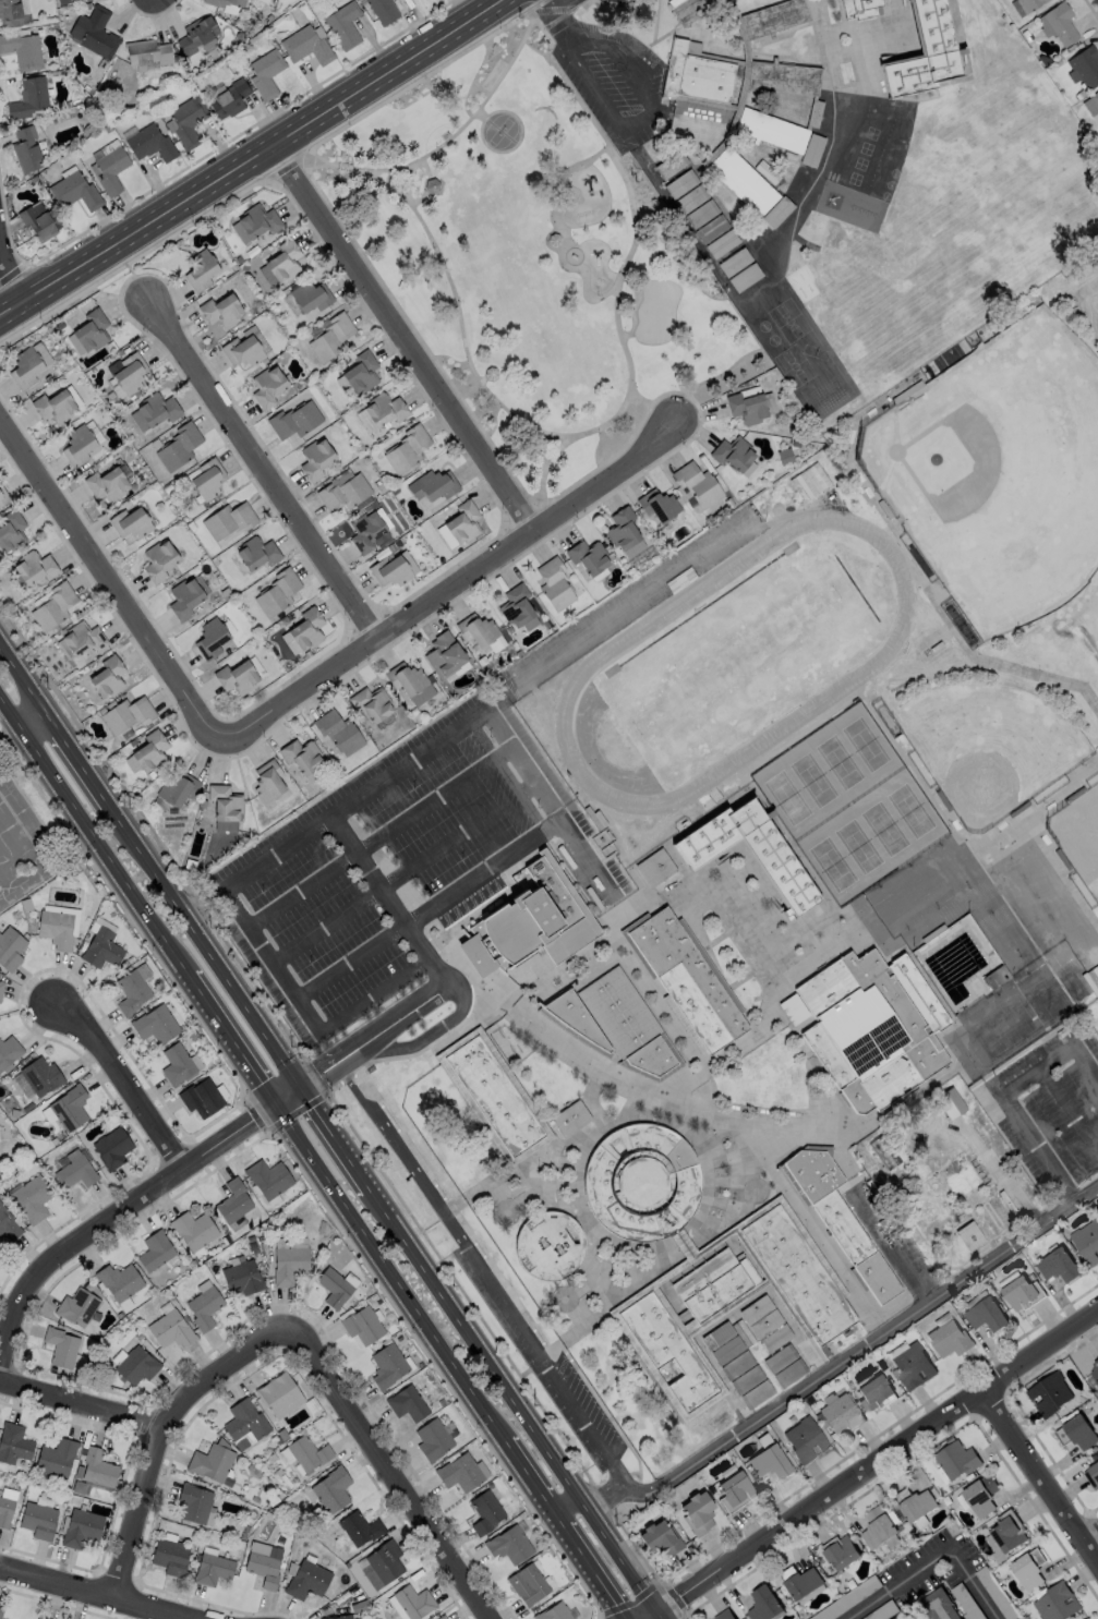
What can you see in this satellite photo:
building: (224, 2)
road: (569, 3)
building: (1028, 3)
building: (860, 9)
building: (383, 10)
building: (690, 10)
building: (9, 13)
building: (773, 19)
building: (1059, 22)
building: (342, 24)
building: (94, 32)
building: (195, 34)
building: (305, 45)
building: (22, 49)
building: (145, 52)
building: (922, 52)
road: (602, 62)
parking lot: (612, 67)
building: (1084, 67)
building: (264, 72)
building: (695, 75)
building: (784, 78)
building: (27, 97)
building: (1095, 97)
building: (229, 99)
road: (482, 116)
building: (186, 120)
park: (503, 130)
building: (771, 131)
building: (149, 144)
building: (25, 148)
road: (251, 157)
building: (110, 170)
road: (410, 181)
building: (680, 183)
building: (432, 184)
building: (743, 184)
road: (429, 185)
building: (74, 192)
building: (691, 198)
building: (701, 214)
building: (39, 221)
building: (254, 222)
building: (712, 228)
road: (559, 229)
building: (553, 239)
road: (631, 255)
building: (282, 261)
park: (535, 261)
building: (200, 269)
road: (132, 273)
road: (11, 275)
building: (309, 295)
building: (220, 310)
park: (657, 310)
building: (91, 330)
road: (407, 334)
building: (329, 337)
building: (241, 350)
building: (24, 367)
building: (360, 372)
building: (129, 373)
building: (492, 374)
building: (267, 386)
road: (695, 391)
building: (53, 406)
building: (745, 407)
building: (156, 408)
building: (383, 409)
building: (294, 420)
building: (77, 445)
building: (178, 446)
building: (406, 448)
road: (559, 448)
building: (731, 452)
building: (315, 459)
road: (545, 467)
road: (264, 469)
park: (998, 478)
building: (206, 479)
building: (696, 483)
building: (106, 484)
building: (432, 485)
building: (342, 491)
building: (3, 496)
building: (656, 505)
building: (228, 520)
building: (130, 522)
building: (461, 522)
building: (620, 529)
building: (10, 531)
building: (364, 532)
building: (389, 548)
building: (255, 554)
building: (587, 557)
building: (160, 561)
building: (33, 567)
building: (388, 571)
road: (107, 581)
building: (554, 584)
road: (447, 587)
building: (276, 593)
park: (1095, 596)
building: (186, 600)
building: (52, 606)
building: (515, 606)
building: (303, 630)
building: (476, 630)
building: (81, 638)
building: (213, 639)
building: (443, 655)
park: (736, 661)
track: (868, 665)
road: (25, 668)
building: (107, 678)
building: (238, 678)
building: (406, 678)
building: (371, 702)
building: (124, 714)
road: (36, 721)
building: (337, 732)
park: (992, 748)
road: (506, 749)
building: (149, 752)
building: (300, 754)
road: (493, 756)
road: (85, 757)
road: (413, 758)
building: (267, 782)
building: (176, 790)
road: (519, 794)
building: (224, 804)
park: (849, 806)
park: (1081, 838)
road: (92, 842)
road: (364, 846)
building: (770, 859)
road: (133, 865)
road: (372, 873)
road: (388, 882)
road: (210, 906)
building: (528, 922)
building: (55, 929)
road: (212, 944)
building: (10, 949)
building: (99, 949)
road: (350, 959)
building: (688, 982)
road: (445, 983)
building: (1, 986)
building: (130, 992)
road: (372, 994)
building: (154, 1025)
building: (615, 1027)
building: (874, 1029)
road: (228, 1041)
building: (8, 1052)
building: (176, 1065)
building: (39, 1076)
road: (310, 1078)
traffic signals: (304, 1082)
road: (119, 1085)
road: (1003, 1092)
building: (200, 1098)
building: (494, 1098)
building: (951, 1102)
traffic signals: (272, 1104)
building: (68, 1108)
road: (1067, 1113)
road: (723, 1116)
building: (570, 1121)
road: (339, 1134)
building: (110, 1148)
road: (403, 1156)
building: (74, 1172)
building: (266, 1179)
building: (642, 1185)
road: (1085, 1192)
building: (31, 1199)
building: (231, 1201)
road: (124, 1207)
building: (840, 1221)
building: (8, 1224)
building: (192, 1230)
building: (1086, 1243)
building: (548, 1248)
building: (153, 1252)
building: (288, 1266)
building: (1057, 1266)
building: (798, 1276)
building: (241, 1278)
building: (117, 1281)
building: (333, 1288)
building: (710, 1288)
building: (1017, 1293)
building: (75, 1307)
building: (203, 1307)
building: (755, 1309)
building: (985, 1316)
road: (413, 1317)
building: (764, 1324)
building: (361, 1326)
building: (169, 1329)
building: (716, 1336)
building: (774, 1338)
building: (946, 1340)
building: (60, 1346)
building: (726, 1350)
building: (667, 1352)
road: (846, 1356)
building: (779, 1358)
building: (135, 1365)
building: (735, 1365)
building: (386, 1366)
building: (910, 1367)
building: (1094, 1372)
building: (788, 1373)
road: (217, 1374)
road: (553, 1378)
building: (746, 1379)
building: (873, 1392)
building: (756, 1394)
building: (278, 1396)
building: (1048, 1396)
road: (518, 1398)
building: (406, 1404)
road: (82, 1409)
building: (840, 1415)
building: (243, 1422)
building: (1078, 1433)
building: (432, 1440)
building: (804, 1441)
building: (13, 1443)
building: (306, 1453)
building: (56, 1459)
building: (955, 1459)
building: (212, 1463)
building: (769, 1463)
road: (872, 1466)
building: (97, 1469)
road: (387, 1470)
road: (534, 1471)
building: (459, 1473)
road: (1042, 1474)
building: (1091, 1477)
building: (330, 1490)
building: (733, 1494)
building: (974, 1496)
building: (912, 1502)
building: (192, 1503)
building: (4, 1512)
building: (485, 1512)
road: (140, 1514)
building: (696, 1515)
building: (38, 1521)
building: (874, 1526)
building: (81, 1529)
building: (359, 1529)
building: (1003, 1535)
road: (1091, 1537)
building: (659, 1541)
building: (508, 1545)
building: (837, 1551)
building: (169, 1557)
road: (931, 1561)
building: (384, 1562)
building: (1027, 1568)
building: (263, 1569)
building: (212, 1570)
road: (584, 1574)
building: (306, 1580)
building: (800, 1582)
building: (527, 1585)
road: (92, 1593)
building: (847, 1599)
building: (412, 1602)
building: (1054, 1603)
building: (762, 1604)
building: (938, 1605)
building: (0, 1608)
traffic signals: (660, 1611)
building: (553, 1612)
road: (662, 1615)
building: (722, 1615)
building: (900, 1616)
building: (39, 1617)
building: (340, 1617)
building: (441, 1617)
building: (1, 1618)
building: (321, 1618)
building: (443, 1618)
building: (1085, 1618)
building: (1087, 1618)

